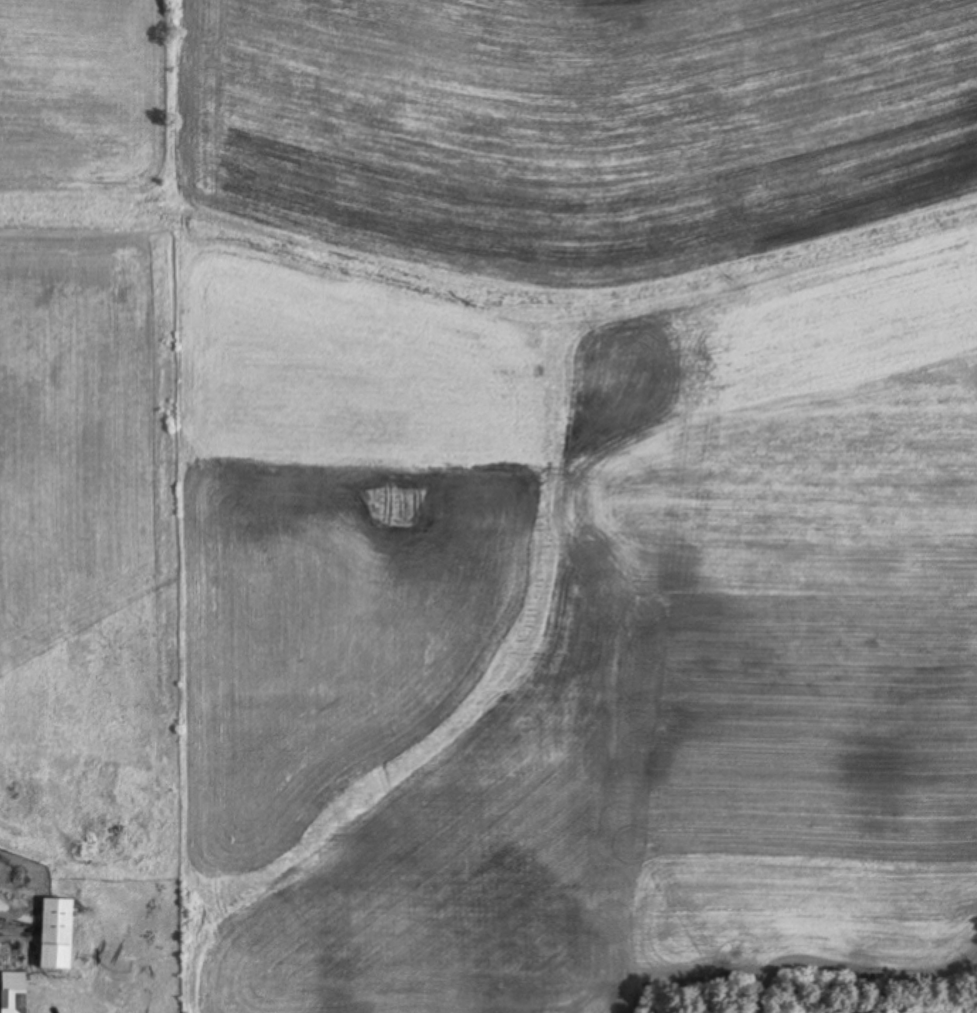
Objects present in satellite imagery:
building: (57, 934)
building: (14, 992)

